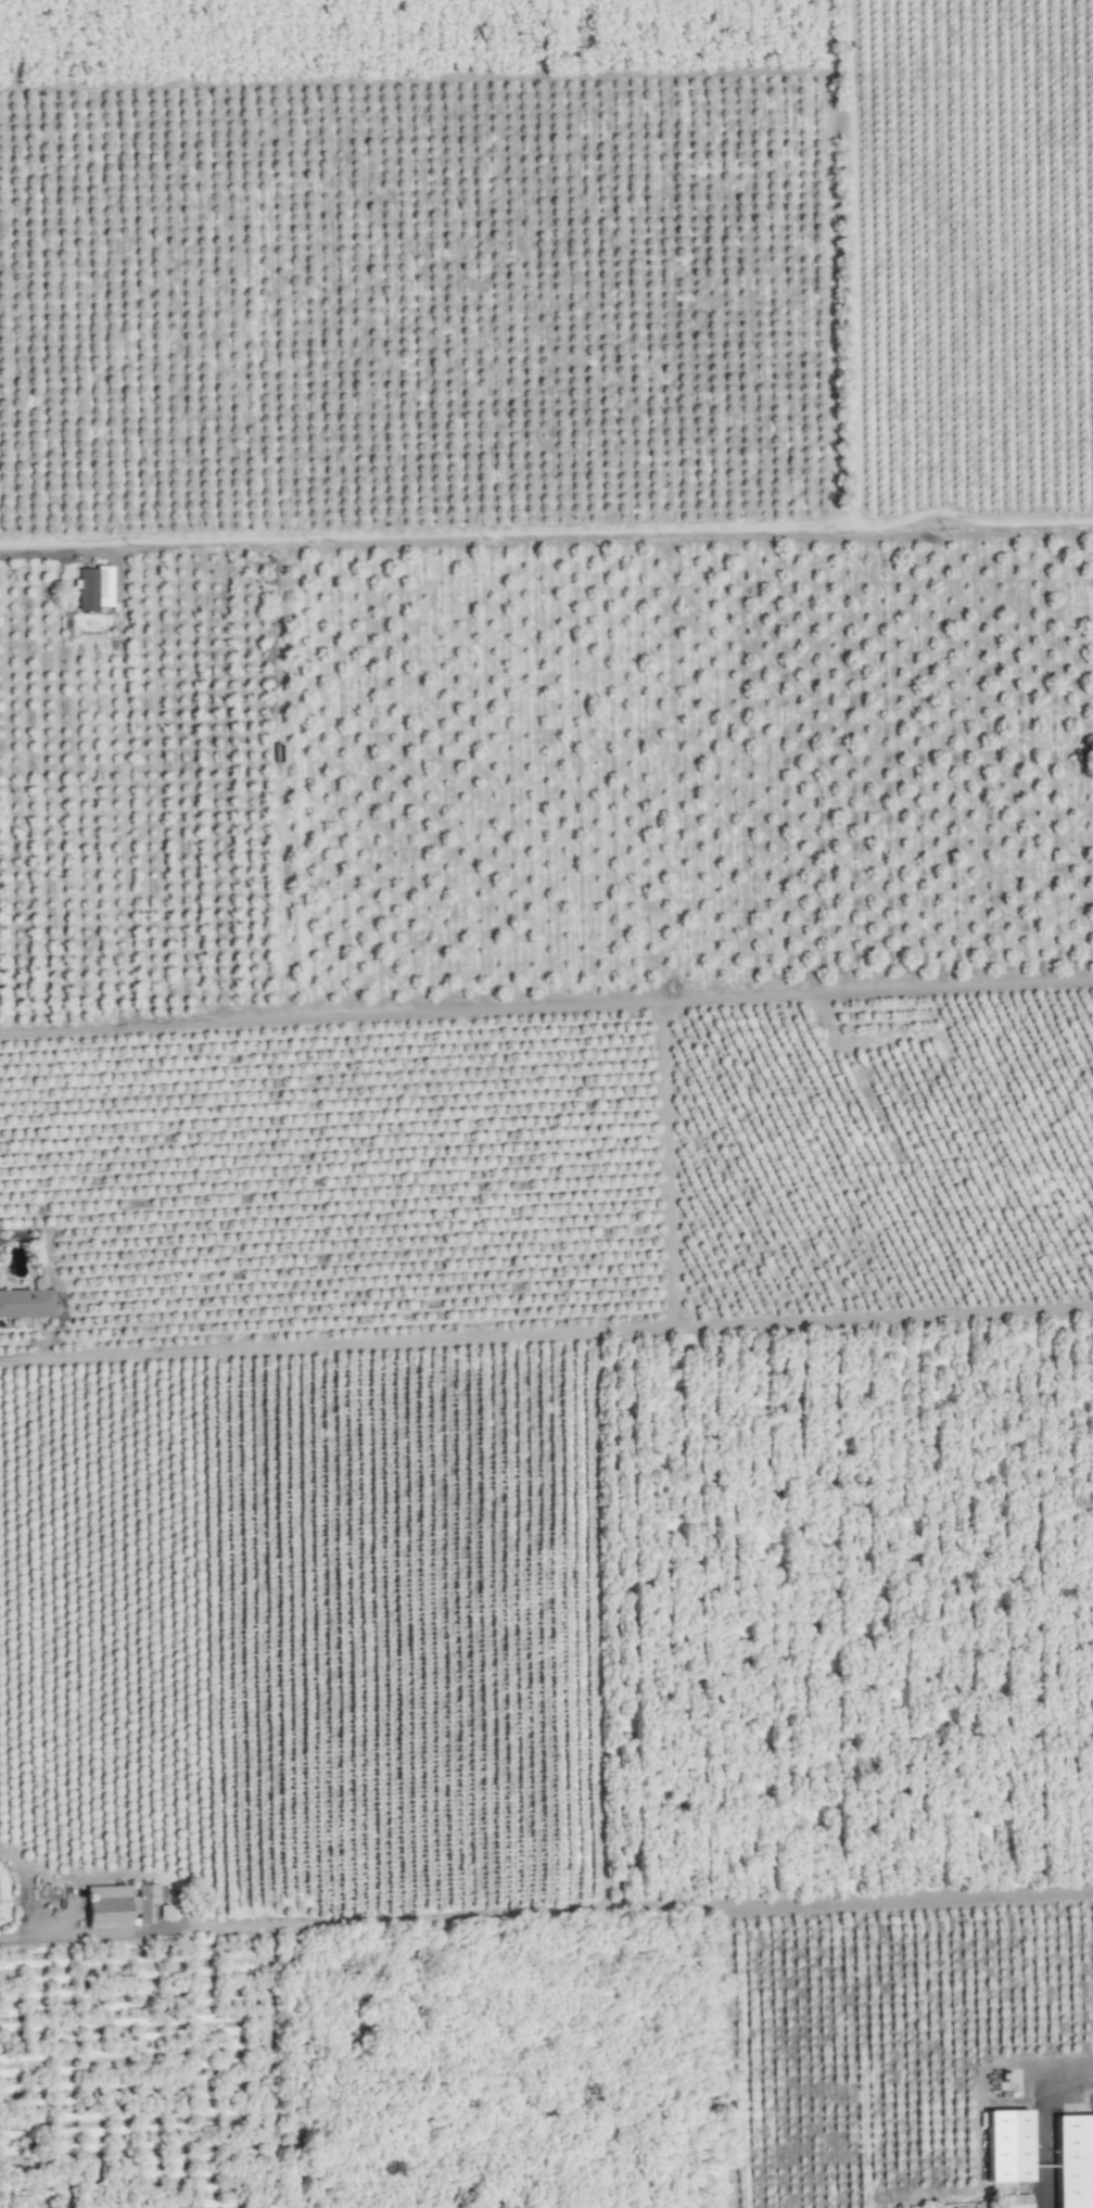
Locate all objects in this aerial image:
road: (52, 551)
building: (90, 585)
building: (26, 1302)
road: (30, 1358)
building: (119, 1903)
road: (115, 1930)
building: (1011, 2143)
building: (1075, 2159)
building: (1018, 2200)

